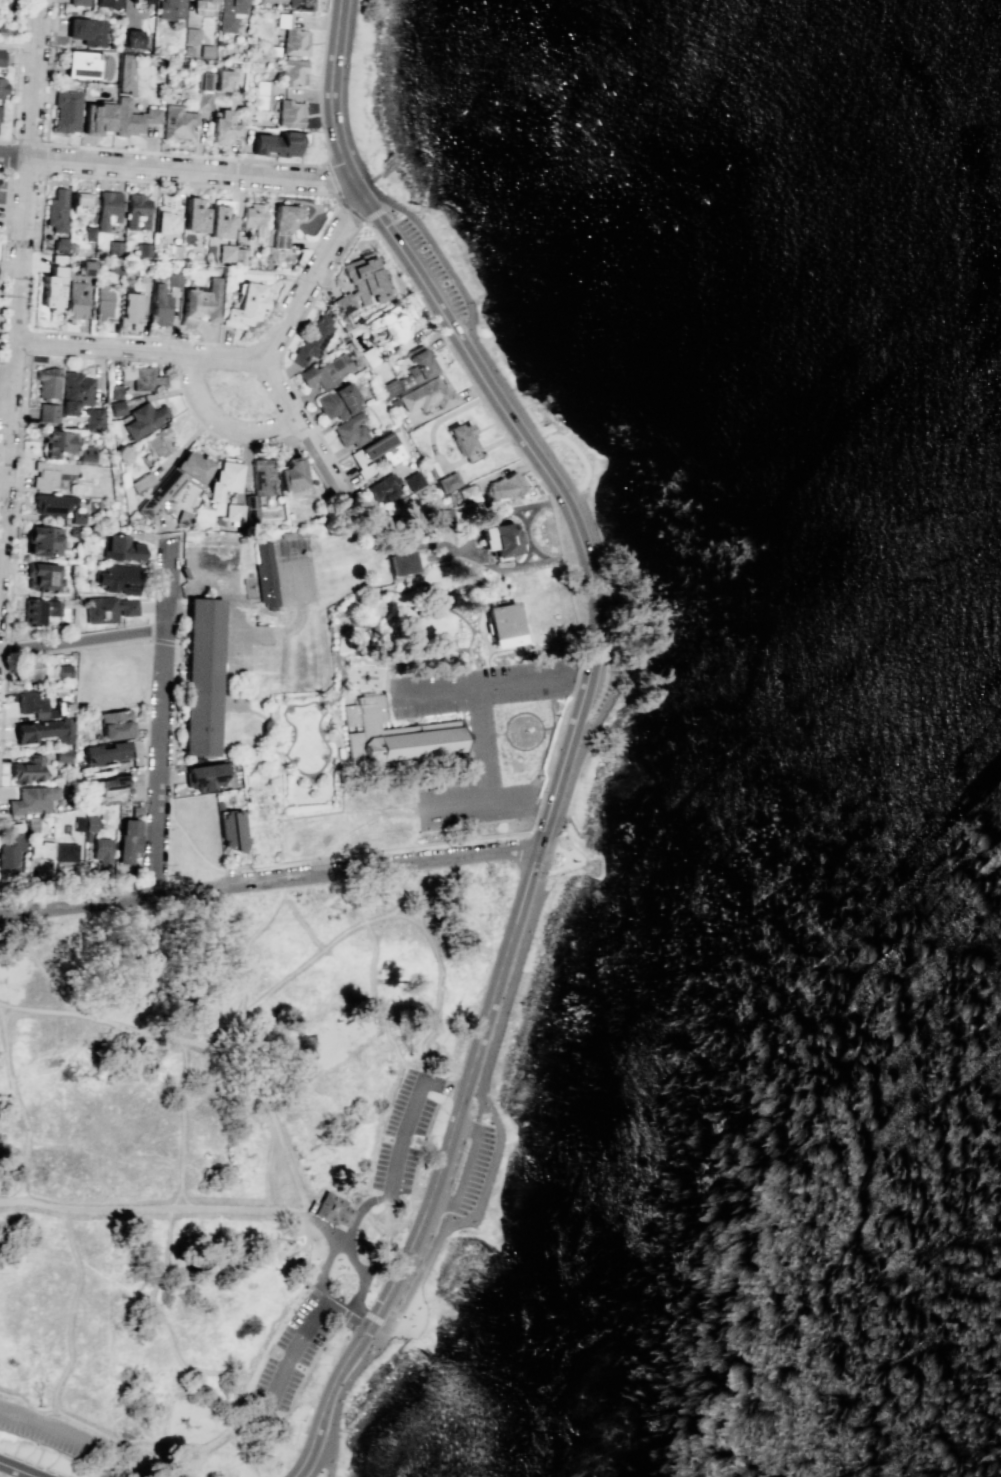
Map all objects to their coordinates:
building: (141, 1)
building: (78, 2)
building: (107, 3)
building: (300, 4)
building: (203, 7)
building: (169, 9)
building: (228, 14)
building: (8, 31)
building: (85, 31)
building: (190, 35)
building: (291, 36)
building: (131, 38)
road: (18, 45)
building: (185, 50)
building: (205, 50)
building: (272, 50)
building: (1, 57)
building: (82, 64)
building: (124, 71)
building: (292, 71)
road: (15, 75)
building: (222, 78)
building: (2, 87)
building: (261, 94)
building: (202, 99)
building: (65, 111)
building: (289, 113)
building: (96, 117)
building: (131, 117)
building: (176, 122)
building: (222, 128)
building: (278, 143)
road: (193, 155)
road: (7, 169)
road: (180, 172)
building: (80, 201)
road: (347, 207)
building: (57, 209)
building: (107, 209)
building: (136, 211)
road: (3, 214)
building: (194, 214)
building: (165, 215)
building: (285, 216)
building: (219, 218)
building: (254, 218)
building: (89, 233)
building: (279, 239)
building: (59, 243)
building: (70, 247)
building: (114, 247)
building: (143, 250)
building: (225, 252)
building: (239, 256)
road: (19, 257)
building: (56, 258)
building: (86, 266)
parking lot: (429, 266)
road: (9, 267)
building: (254, 273)
road: (311, 276)
building: (173, 280)
building: (360, 284)
building: (51, 288)
building: (75, 299)
building: (102, 303)
building: (200, 303)
road: (275, 304)
building: (160, 305)
building: (245, 305)
building: (131, 307)
park: (472, 307)
building: (394, 328)
road: (29, 339)
building: (311, 340)
road: (137, 349)
road: (72, 354)
building: (370, 355)
building: (412, 371)
building: (326, 372)
road: (465, 373)
road: (5, 379)
building: (146, 379)
building: (48, 382)
building: (74, 392)
building: (114, 392)
park: (238, 393)
building: (427, 395)
building: (337, 401)
building: (393, 403)
building: (116, 408)
building: (47, 412)
building: (143, 418)
building: (92, 419)
road: (224, 421)
building: (352, 430)
road: (308, 434)
building: (463, 438)
building: (55, 442)
building: (158, 442)
building: (376, 453)
building: (86, 454)
building: (471, 455)
road: (437, 456)
road: (581, 460)
road: (507, 468)
building: (52, 474)
building: (291, 474)
building: (223, 479)
building: (260, 479)
building: (414, 480)
building: (448, 481)
building: (141, 482)
building: (174, 482)
building: (383, 486)
building: (503, 487)
road: (0, 494)
building: (51, 503)
building: (233, 512)
building: (76, 516)
building: (439, 516)
building: (183, 518)
building: (284, 534)
building: (499, 540)
building: (42, 541)
building: (120, 547)
building: (403, 562)
building: (265, 575)
building: (42, 576)
building: (117, 577)
road: (195, 595)
road: (395, 597)
road: (488, 600)
building: (107, 608)
road: (176, 608)
fountain: (384, 608)
building: (37, 610)
road: (456, 614)
building: (504, 623)
road: (359, 625)
road: (147, 636)
road: (82, 640)
road: (169, 641)
road: (486, 642)
road: (76, 648)
road: (7, 650)
parking lot: (605, 660)
building: (30, 668)
building: (63, 670)
building: (202, 675)
road: (494, 686)
road: (3, 698)
building: (40, 704)
road: (321, 714)
road: (551, 719)
road: (159, 720)
road: (540, 723)
building: (116, 724)
road: (573, 727)
building: (44, 730)
building: (394, 733)
road: (584, 736)
parking lot: (476, 737)
road: (481, 747)
building: (104, 751)
road: (260, 752)
road: (198, 754)
road: (542, 755)
building: (61, 758)
building: (28, 769)
building: (203, 775)
building: (109, 785)
road: (277, 789)
building: (31, 799)
road: (486, 806)
building: (101, 813)
road: (362, 822)
building: (77, 823)
building: (90, 823)
building: (232, 830)
road: (539, 834)
building: (86, 836)
building: (128, 836)
building: (11, 846)
building: (101, 849)
road: (383, 849)
building: (38, 851)
building: (64, 851)
road: (577, 858)
road: (205, 861)
road: (564, 861)
road: (268, 881)
road: (382, 931)
road: (40, 966)
road: (300, 969)
road: (15, 981)
road: (86, 1029)
road: (197, 1046)
road: (19, 1099)
road: (477, 1114)
parking lot: (403, 1131)
road: (402, 1137)
park: (214, 1161)
parking lot: (454, 1163)
road: (468, 1167)
parking lot: (469, 1168)
road: (269, 1170)
road: (380, 1196)
road: (153, 1208)
building: (332, 1209)
road: (447, 1216)
road: (354, 1219)
road: (323, 1230)
road: (166, 1250)
road: (326, 1260)
parking lot: (411, 1270)
road: (357, 1271)
road: (109, 1278)
road: (321, 1292)
road: (68, 1310)
road: (349, 1310)
road: (370, 1315)
road: (409, 1316)
road: (341, 1320)
road: (304, 1334)
road: (395, 1338)
road: (268, 1346)
parking lot: (293, 1351)
road: (106, 1358)
road: (179, 1361)
road: (308, 1365)
park: (380, 1379)
road: (56, 1412)
road: (46, 1420)
parking lot: (47, 1429)
road: (191, 1446)
road: (54, 1448)
road: (240, 1453)
road: (329, 1457)
road: (109, 1458)
road: (17, 1470)
park: (2, 1475)

